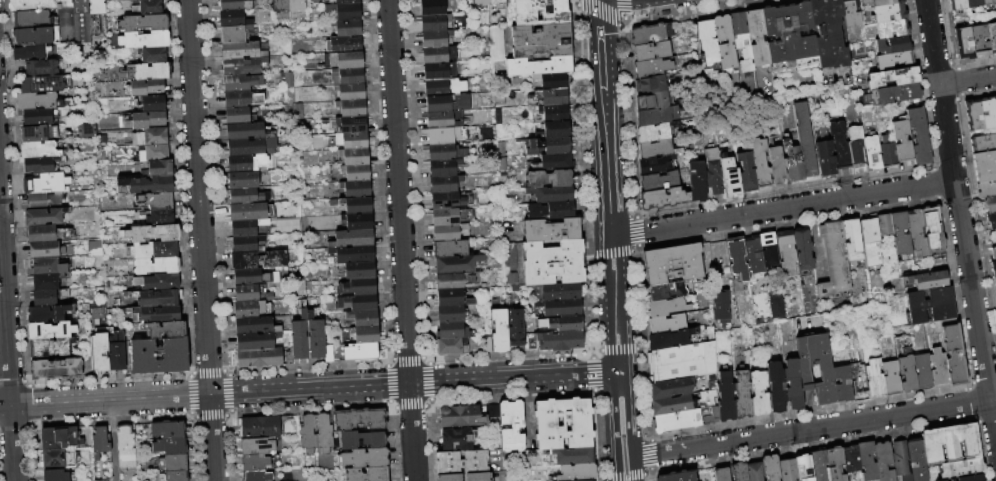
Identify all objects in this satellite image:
building: (495, 1)
building: (895, 1)
building: (347, 2)
building: (988, 2)
building: (877, 3)
building: (974, 3)
building: (39, 5)
building: (481, 5)
building: (958, 5)
building: (233, 6)
building: (149, 7)
building: (437, 7)
building: (297, 9)
building: (281, 10)
road: (625, 10)
building: (345, 11)
building: (535, 13)
building: (851, 13)
building: (887, 13)
building: (96, 15)
road: (600, 15)
building: (31, 19)
building: (233, 20)
building: (82, 22)
building: (435, 23)
road: (624, 23)
building: (144, 24)
building: (348, 27)
building: (892, 30)
building: (829, 33)
building: (234, 34)
building: (651, 34)
building: (31, 36)
building: (992, 37)
building: (758, 38)
building: (436, 39)
building: (790, 39)
building: (145, 40)
road: (599, 40)
building: (541, 41)
building: (742, 41)
building: (707, 42)
building: (980, 42)
building: (344, 44)
building: (964, 44)
building: (725, 45)
building: (893, 46)
building: (652, 52)
building: (31, 53)
building: (439, 55)
building: (154, 56)
building: (243, 58)
building: (345, 60)
building: (896, 61)
building: (539, 66)
building: (41, 68)
building: (652, 68)
building: (153, 72)
building: (440, 72)
building: (348, 77)
building: (893, 78)
building: (552, 81)
road: (967, 81)
building: (242, 82)
building: (43, 85)
building: (651, 85)
building: (147, 87)
building: (444, 88)
building: (351, 92)
building: (895, 94)
building: (552, 97)
building: (242, 98)
building: (36, 101)
building: (655, 101)
building: (995, 102)
building: (448, 104)
building: (154, 105)
building: (352, 108)
building: (554, 113)
building: (988, 114)
building: (973, 116)
building: (238, 117)
building: (655, 117)
building: (37, 118)
building: (146, 120)
building: (445, 121)
road: (631, 121)
building: (353, 124)
building: (557, 130)
building: (248, 132)
building: (656, 133)
building: (34, 134)
building: (446, 136)
building: (151, 137)
building: (919, 137)
building: (805, 139)
building: (353, 141)
building: (902, 141)
building: (983, 144)
building: (840, 145)
building: (549, 146)
building: (249, 148)
building: (856, 148)
building: (39, 150)
building: (657, 150)
building: (873, 152)
building: (446, 153)
building: (888, 153)
building: (155, 154)
building: (355, 157)
building: (826, 159)
building: (554, 163)
building: (793, 163)
building: (761, 164)
building: (38, 165)
building: (242, 165)
building: (656, 165)
building: (777, 166)
building: (984, 167)
building: (444, 168)
building: (161, 169)
building: (714, 172)
building: (746, 172)
building: (357, 173)
building: (731, 177)
building: (549, 179)
building: (243, 181)
building: (659, 182)
building: (698, 182)
building: (45, 184)
building: (445, 185)
building: (148, 186)
building: (357, 189)
building: (986, 190)
building: (550, 195)
building: (247, 197)
building: (663, 199)
building: (155, 201)
building: (36, 202)
building: (448, 202)
building: (358, 205)
building: (990, 205)
road: (782, 208)
building: (550, 211)
building: (250, 212)
building: (43, 218)
building: (162, 218)
building: (449, 218)
building: (991, 221)
building: (358, 222)
road: (960, 223)
building: (885, 225)
road: (609, 226)
building: (247, 228)
building: (551, 231)
building: (934, 231)
road: (639, 232)
building: (450, 233)
building: (918, 233)
building: (41, 234)
building: (154, 234)
building: (901, 234)
building: (992, 237)
building: (353, 239)
building: (852, 239)
road: (201, 240)
road: (400, 240)
building: (871, 243)
building: (248, 245)
building: (450, 249)
building: (803, 249)
building: (43, 250)
building: (155, 250)
road: (637, 250)
building: (768, 250)
building: (787, 250)
building: (994, 253)
building: (353, 255)
building: (754, 255)
building: (737, 258)
building: (259, 260)
building: (834, 261)
building: (553, 263)
building: (677, 263)
building: (457, 265)
building: (157, 266)
building: (994, 268)
building: (359, 271)
building: (44, 275)
building: (247, 278)
building: (995, 280)
building: (454, 281)
building: (928, 281)
building: (158, 283)
building: (358, 288)
building: (667, 291)
building: (557, 292)
building: (247, 294)
building: (995, 298)
building: (44, 299)
building: (157, 299)
building: (452, 299)
road: (639, 302)
building: (359, 303)
building: (667, 307)
building: (720, 307)
building: (774, 307)
building: (931, 307)
building: (560, 308)
building: (251, 309)
building: (47, 314)
building: (451, 314)
building: (160, 315)
building: (363, 319)
building: (97, 324)
building: (563, 324)
building: (667, 324)
building: (254, 326)
building: (516, 329)
building: (166, 330)
building: (50, 331)
building: (453, 331)
building: (500, 332)
building: (366, 335)
building: (315, 337)
building: (300, 338)
building: (669, 340)
building: (560, 341)
building: (255, 342)
building: (530, 343)
building: (452, 347)
building: (51, 348)
road: (620, 350)
building: (97, 351)
building: (116, 352)
building: (362, 353)
road: (7, 355)
building: (954, 355)
building: (160, 356)
building: (260, 359)
building: (682, 362)
building: (905, 363)
building: (56, 369)
building: (939, 369)
building: (856, 371)
building: (923, 372)
building: (826, 374)
road: (594, 375)
building: (891, 378)
building: (875, 380)
road: (985, 382)
building: (843, 384)
road: (970, 385)
building: (792, 386)
building: (775, 388)
road: (309, 389)
building: (672, 389)
building: (742, 395)
building: (758, 395)
road: (645, 396)
building: (726, 398)
road: (973, 403)
building: (674, 405)
road: (811, 413)
road: (620, 415)
building: (461, 417)
road: (976, 418)
building: (360, 420)
road: (988, 421)
building: (676, 422)
building: (563, 424)
building: (511, 427)
building: (261, 428)
road: (809, 429)
building: (169, 430)
building: (323, 434)
building: (308, 435)
building: (60, 438)
building: (457, 440)
road: (112, 441)
building: (362, 441)
building: (100, 443)
building: (950, 445)
building: (172, 446)
road: (816, 446)
building: (126, 447)
building: (257, 447)
road: (982, 450)
road: (653, 456)
building: (573, 457)
building: (59, 459)
building: (365, 459)
building: (851, 460)
building: (917, 460)
building: (173, 461)
building: (868, 461)
building: (884, 461)
building: (901, 461)
building: (255, 463)
building: (461, 463)
building: (835, 464)
building: (820, 466)
building: (771, 468)
road: (623, 469)
building: (788, 470)
building: (962, 470)
building: (739, 472)
building: (755, 472)
building: (578, 473)
road: (650, 473)
building: (56, 475)
building: (175, 475)
building: (367, 475)
building: (722, 475)
building: (257, 476)
building: (678, 476)
building: (477, 477)
road: (653, 477)
building: (449, 478)
road: (625, 478)
building: (972, 478)
building: (951, 480)

